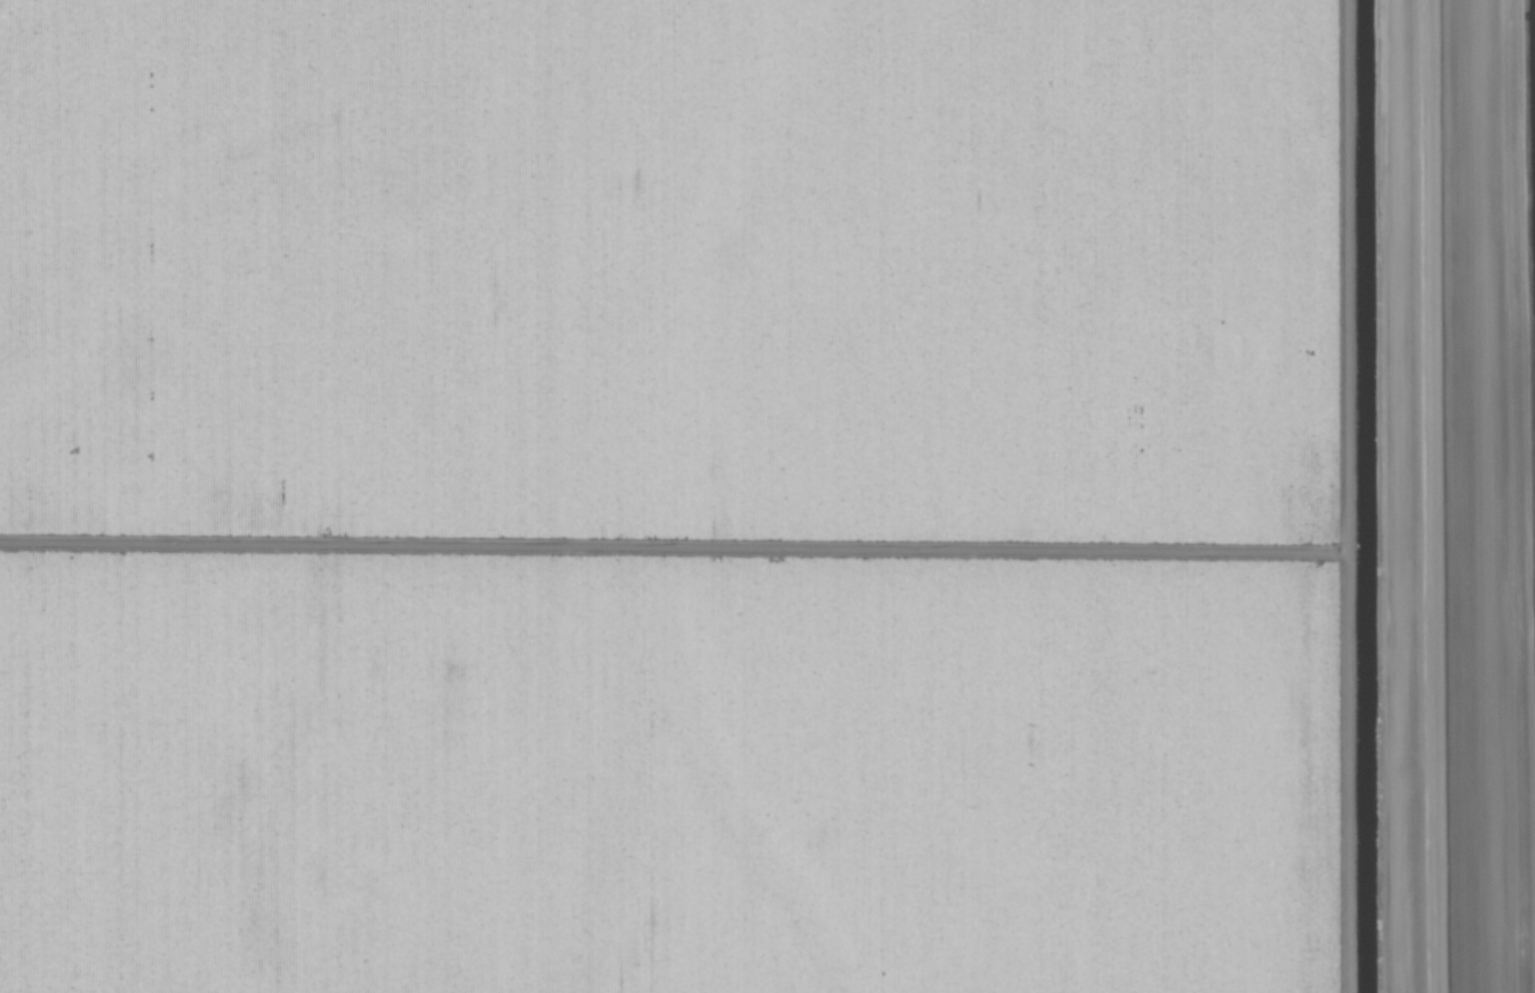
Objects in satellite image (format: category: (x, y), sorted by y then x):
crop: (767, 496)
road: (1425, 496)

